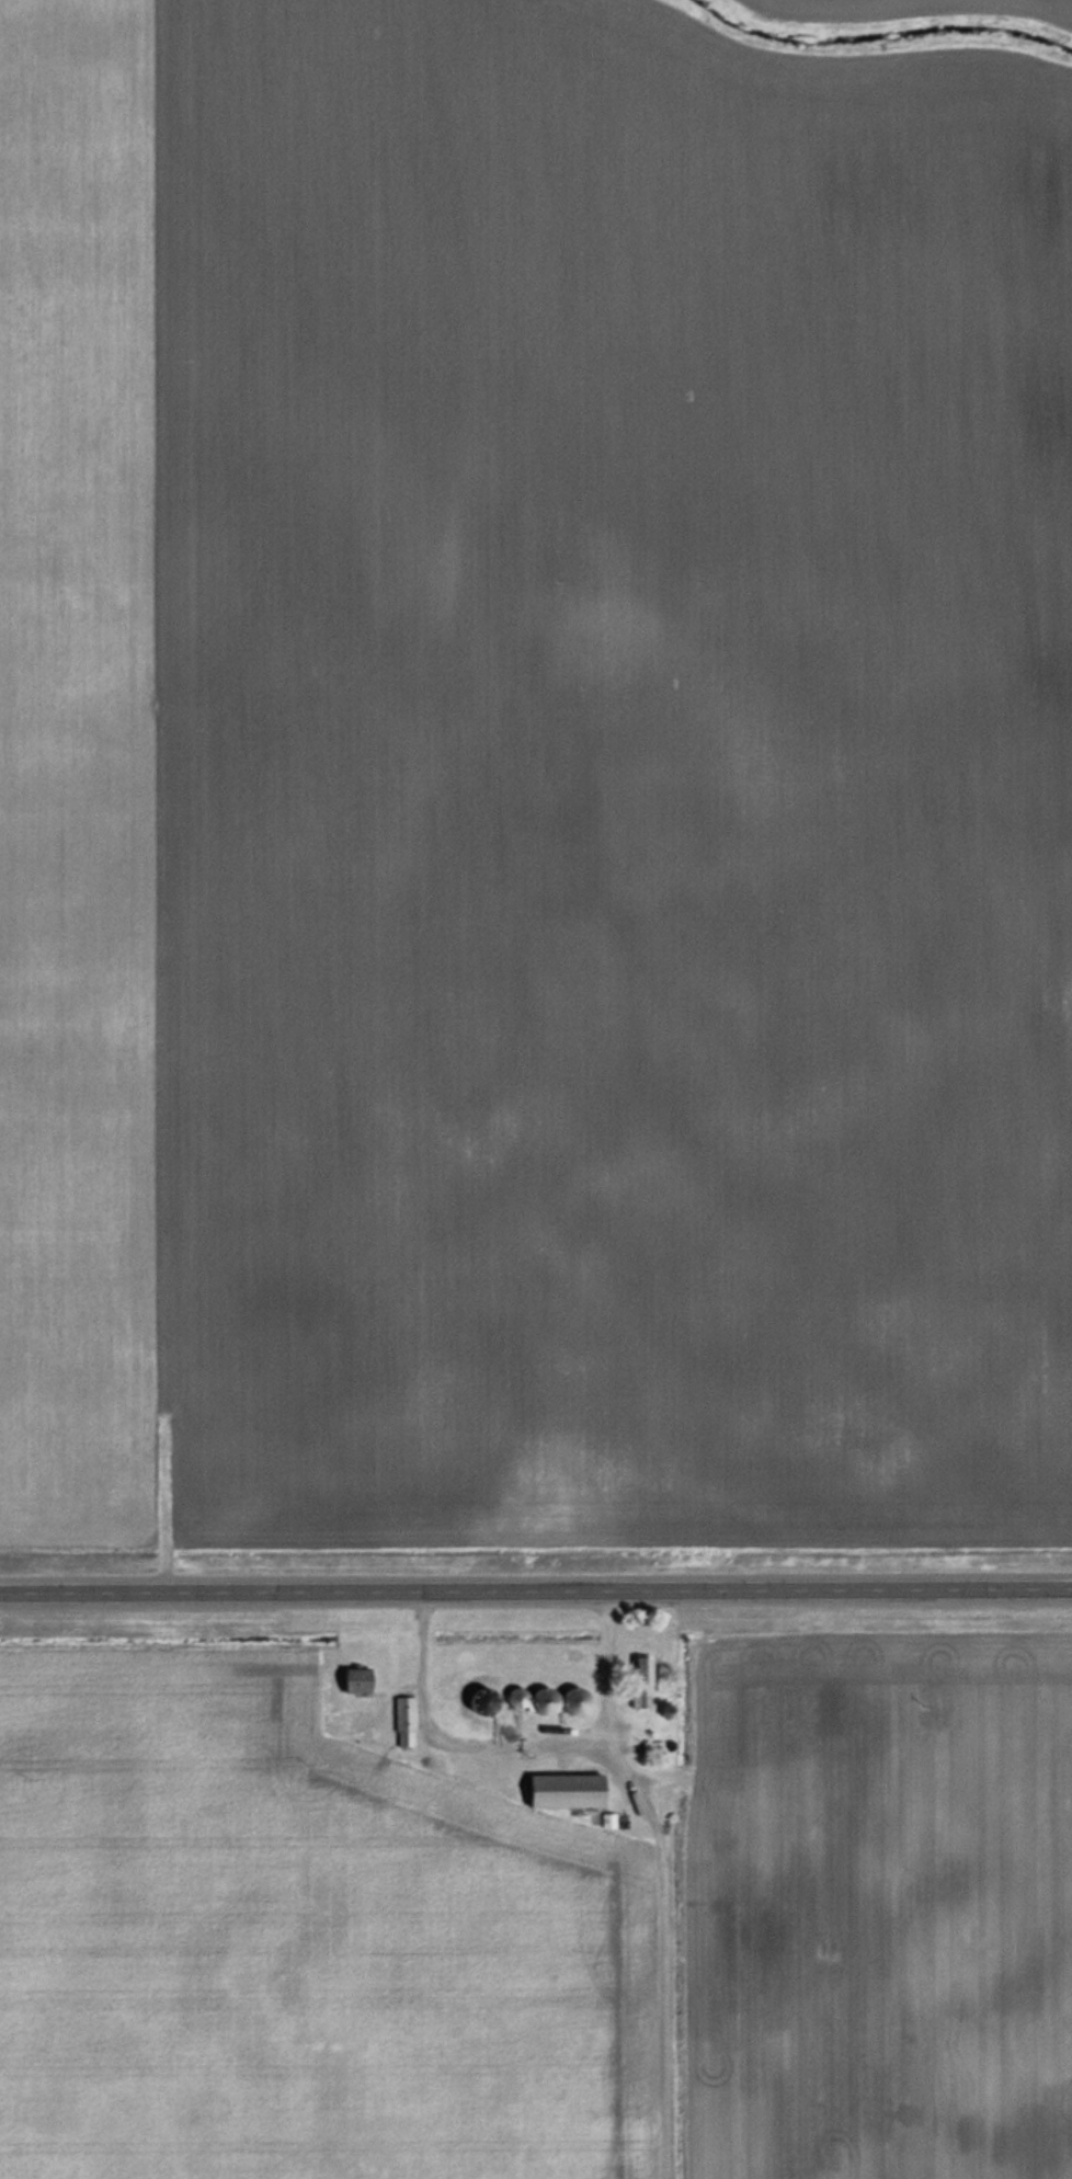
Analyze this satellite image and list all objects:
road: (535, 1592)
road: (598, 1677)
building: (351, 1680)
building: (637, 1682)
building: (529, 1700)
building: (570, 1700)
building: (354, 1721)
building: (402, 1721)
building: (561, 1790)

